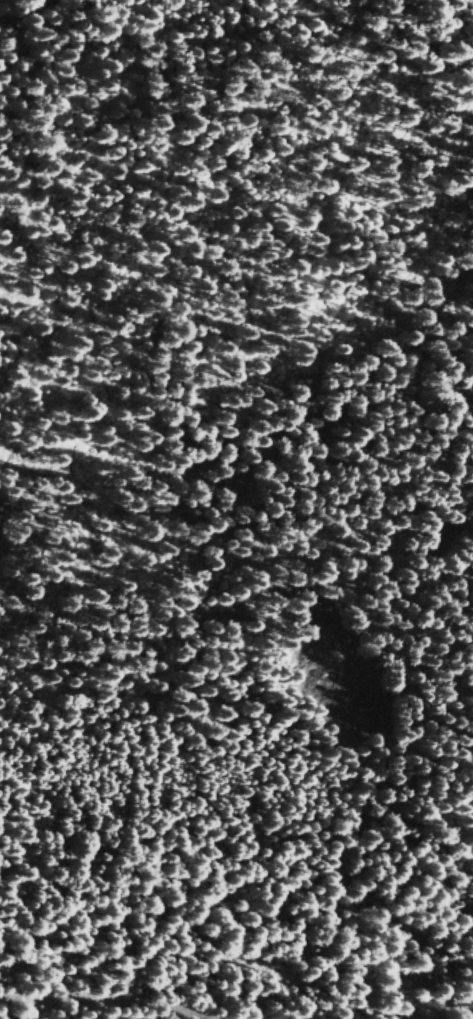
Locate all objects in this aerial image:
road: (110, 997)

